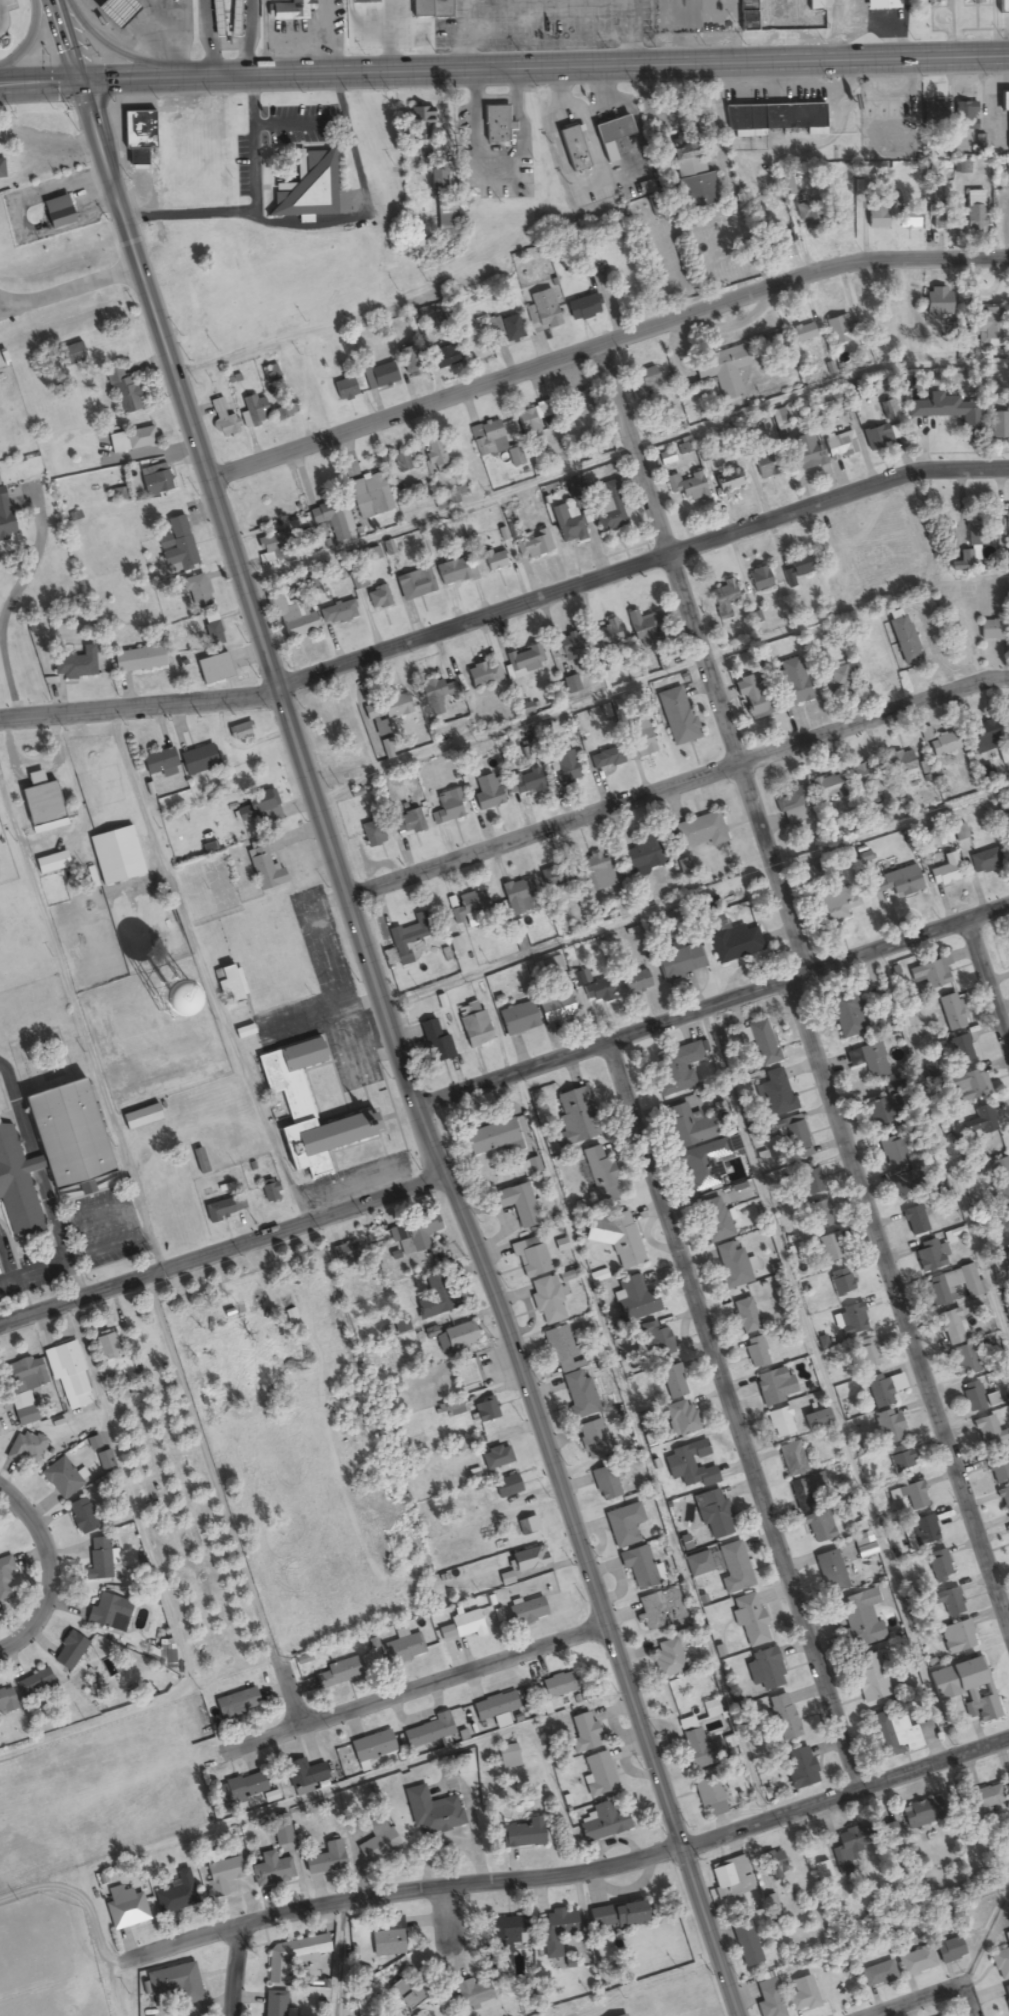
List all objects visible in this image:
building: (927, 0)
building: (881, 4)
building: (814, 5)
building: (1002, 8)
building: (214, 9)
building: (430, 9)
building: (291, 10)
building: (115, 12)
building: (745, 15)
building: (234, 18)
building: (390, 21)
road: (29, 39)
road: (69, 40)
road: (112, 52)
road: (594, 65)
road: (130, 79)
traffic signals: (82, 81)
road: (41, 83)
building: (1003, 101)
building: (933, 114)
building: (964, 116)
building: (774, 119)
building: (419, 122)
building: (495, 125)
building: (610, 131)
building: (570, 151)
building: (691, 177)
building: (784, 186)
building: (311, 188)
building: (936, 210)
building: (973, 211)
building: (55, 213)
building: (877, 215)
building: (446, 220)
building: (810, 220)
building: (907, 220)
building: (783, 240)
road: (932, 254)
road: (71, 288)
building: (936, 302)
road: (14, 307)
building: (582, 307)
building: (542, 311)
building: (986, 327)
building: (507, 329)
building: (801, 330)
building: (838, 331)
building: (443, 359)
building: (410, 362)
road: (536, 370)
building: (723, 371)
building: (269, 375)
building: (382, 376)
building: (645, 385)
road: (817, 388)
building: (343, 390)
building: (124, 394)
building: (827, 405)
building: (577, 407)
building: (887, 410)
building: (253, 411)
building: (285, 413)
building: (950, 413)
building: (223, 420)
building: (778, 420)
building: (531, 424)
building: (999, 426)
building: (876, 438)
building: (488, 439)
building: (131, 441)
building: (839, 447)
building: (804, 453)
building: (434, 457)
building: (666, 458)
building: (402, 463)
building: (766, 466)
road: (951, 470)
building: (158, 480)
building: (727, 482)
building: (687, 488)
building: (369, 497)
building: (611, 509)
building: (1006, 517)
building: (4, 518)
road: (440, 518)
building: (332, 521)
building: (567, 525)
building: (306, 539)
building: (179, 546)
building: (533, 546)
building: (269, 550)
building: (494, 561)
building: (962, 562)
building: (799, 565)
building: (450, 574)
building: (759, 579)
building: (414, 585)
building: (196, 593)
building: (378, 599)
building: (724, 599)
building: (337, 615)
building: (289, 620)
building: (641, 625)
road: (453, 627)
building: (991, 630)
building: (213, 635)
building: (609, 635)
building: (904, 640)
building: (568, 644)
building: (137, 661)
building: (523, 661)
building: (73, 663)
building: (213, 670)
building: (482, 675)
building: (836, 678)
road: (1000, 678)
building: (792, 681)
building: (436, 696)
building: (753, 699)
building: (385, 708)
building: (676, 716)
road: (508, 727)
building: (342, 730)
building: (239, 732)
building: (984, 737)
building: (638, 740)
building: (940, 743)
building: (604, 759)
building: (197, 761)
building: (902, 762)
building: (159, 764)
building: (563, 769)
building: (860, 774)
building: (526, 782)
building: (825, 786)
road: (669, 788)
building: (486, 793)
building: (793, 805)
building: (447, 806)
building: (1002, 806)
building: (259, 807)
building: (42, 808)
building: (408, 824)
building: (699, 831)
building: (371, 835)
building: (965, 851)
building: (110, 856)
building: (642, 857)
building: (264, 864)
building: (597, 872)
building: (943, 875)
building: (555, 880)
building: (893, 884)
road: (694, 896)
building: (517, 897)
building: (837, 903)
building: (467, 907)
building: (410, 938)
building: (734, 943)
building: (679, 963)
building: (549, 966)
building: (929, 975)
building: (580, 978)
building: (635, 982)
building: (231, 984)
road: (987, 984)
road: (802, 990)
building: (596, 993)
building: (142, 996)
building: (554, 1007)
road: (713, 1008)
building: (950, 1012)
building: (847, 1013)
building: (516, 1019)
building: (472, 1025)
building: (435, 1043)
building: (762, 1043)
building: (959, 1049)
road: (397, 1052)
building: (868, 1060)
building: (677, 1069)
building: (274, 1077)
building: (967, 1086)
building: (776, 1094)
building: (880, 1109)
building: (139, 1117)
building: (575, 1117)
building: (985, 1120)
building: (690, 1127)
building: (323, 1135)
building: (794, 1137)
building: (493, 1139)
building: (892, 1150)
building: (48, 1151)
road: (942, 1151)
building: (704, 1164)
building: (599, 1174)
building: (809, 1179)
building: (999, 1181)
building: (903, 1182)
building: (935, 1184)
building: (268, 1191)
building: (518, 1205)
building: (224, 1209)
building: (821, 1214)
building: (714, 1220)
building: (915, 1220)
building: (1003, 1223)
building: (412, 1234)
building: (616, 1238)
building: (830, 1247)
road: (222, 1249)
building: (929, 1256)
building: (533, 1260)
building: (730, 1266)
building: (841, 1282)
building: (952, 1286)
building: (632, 1294)
building: (436, 1295)
building: (547, 1301)
building: (291, 1315)
building: (745, 1316)
building: (852, 1319)
building: (952, 1327)
building: (459, 1337)
building: (659, 1344)
building: (558, 1345)
building: (107, 1347)
building: (755, 1353)
building: (869, 1354)
building: (964, 1361)
building: (72, 1370)
building: (467, 1373)
building: (672, 1382)
building: (773, 1387)
building: (22, 1388)
building: (882, 1389)
building: (579, 1395)
building: (977, 1398)
building: (453, 1408)
building: (484, 1410)
road: (730, 1418)
building: (681, 1419)
building: (816, 1420)
building: (780, 1423)
building: (889, 1428)
building: (988, 1432)
building: (591, 1438)
building: (24, 1448)
building: (495, 1458)
building: (792, 1459)
building: (900, 1459)
building: (688, 1463)
building: (999, 1471)
building: (62, 1479)
building: (604, 1484)
building: (505, 1487)
building: (806, 1491)
building: (912, 1496)
building: (1005, 1502)
road: (222, 1506)
building: (712, 1515)
building: (81, 1517)
building: (623, 1525)
building: (527, 1526)
building: (816, 1528)
building: (921, 1531)
building: (528, 1559)
building: (98, 1561)
building: (939, 1566)
building: (638, 1567)
building: (733, 1569)
road: (49, 1571)
building: (831, 1572)
building: (5, 1582)
building: (946, 1601)
building: (661, 1610)
building: (526, 1612)
building: (109, 1613)
building: (749, 1620)
building: (859, 1621)
building: (460, 1626)
building: (956, 1637)
building: (401, 1650)
building: (69, 1652)
building: (667, 1659)
building: (765, 1671)
building: (337, 1674)
building: (969, 1674)
building: (869, 1678)
building: (38, 1684)
building: (558, 1685)
road: (412, 1696)
building: (8, 1700)
building: (236, 1705)
building: (493, 1707)
building: (982, 1709)
building: (784, 1717)
building: (429, 1732)
building: (892, 1732)
building: (583, 1733)
building: (695, 1741)
building: (372, 1747)
building: (800, 1768)
building: (598, 1775)
building: (298, 1776)
building: (1008, 1783)
building: (239, 1790)
building: (708, 1792)
building: (985, 1798)
building: (432, 1813)
building: (919, 1814)
building: (603, 1822)
building: (279, 1831)
building: (523, 1834)
building: (377, 1842)
building: (846, 1850)
building: (325, 1860)
building: (772, 1866)
building: (270, 1871)
road: (576, 1873)
building: (220, 1874)
building: (730, 1878)
building: (176, 1895)
building: (125, 1909)
building: (615, 1916)
building: (555, 1931)
building: (504, 1934)
building: (388, 1939)
building: (745, 1944)
building: (949, 1951)
building: (293, 1956)
building: (915, 1961)
building: (1000, 1965)
road: (233, 1972)
building: (877, 1975)
building: (175, 1984)
building: (406, 1992)
building: (471, 1993)
road: (933, 1994)
building: (802, 1995)
building: (1006, 1996)
building: (769, 2000)
building: (274, 2004)
building: (621, 2015)

